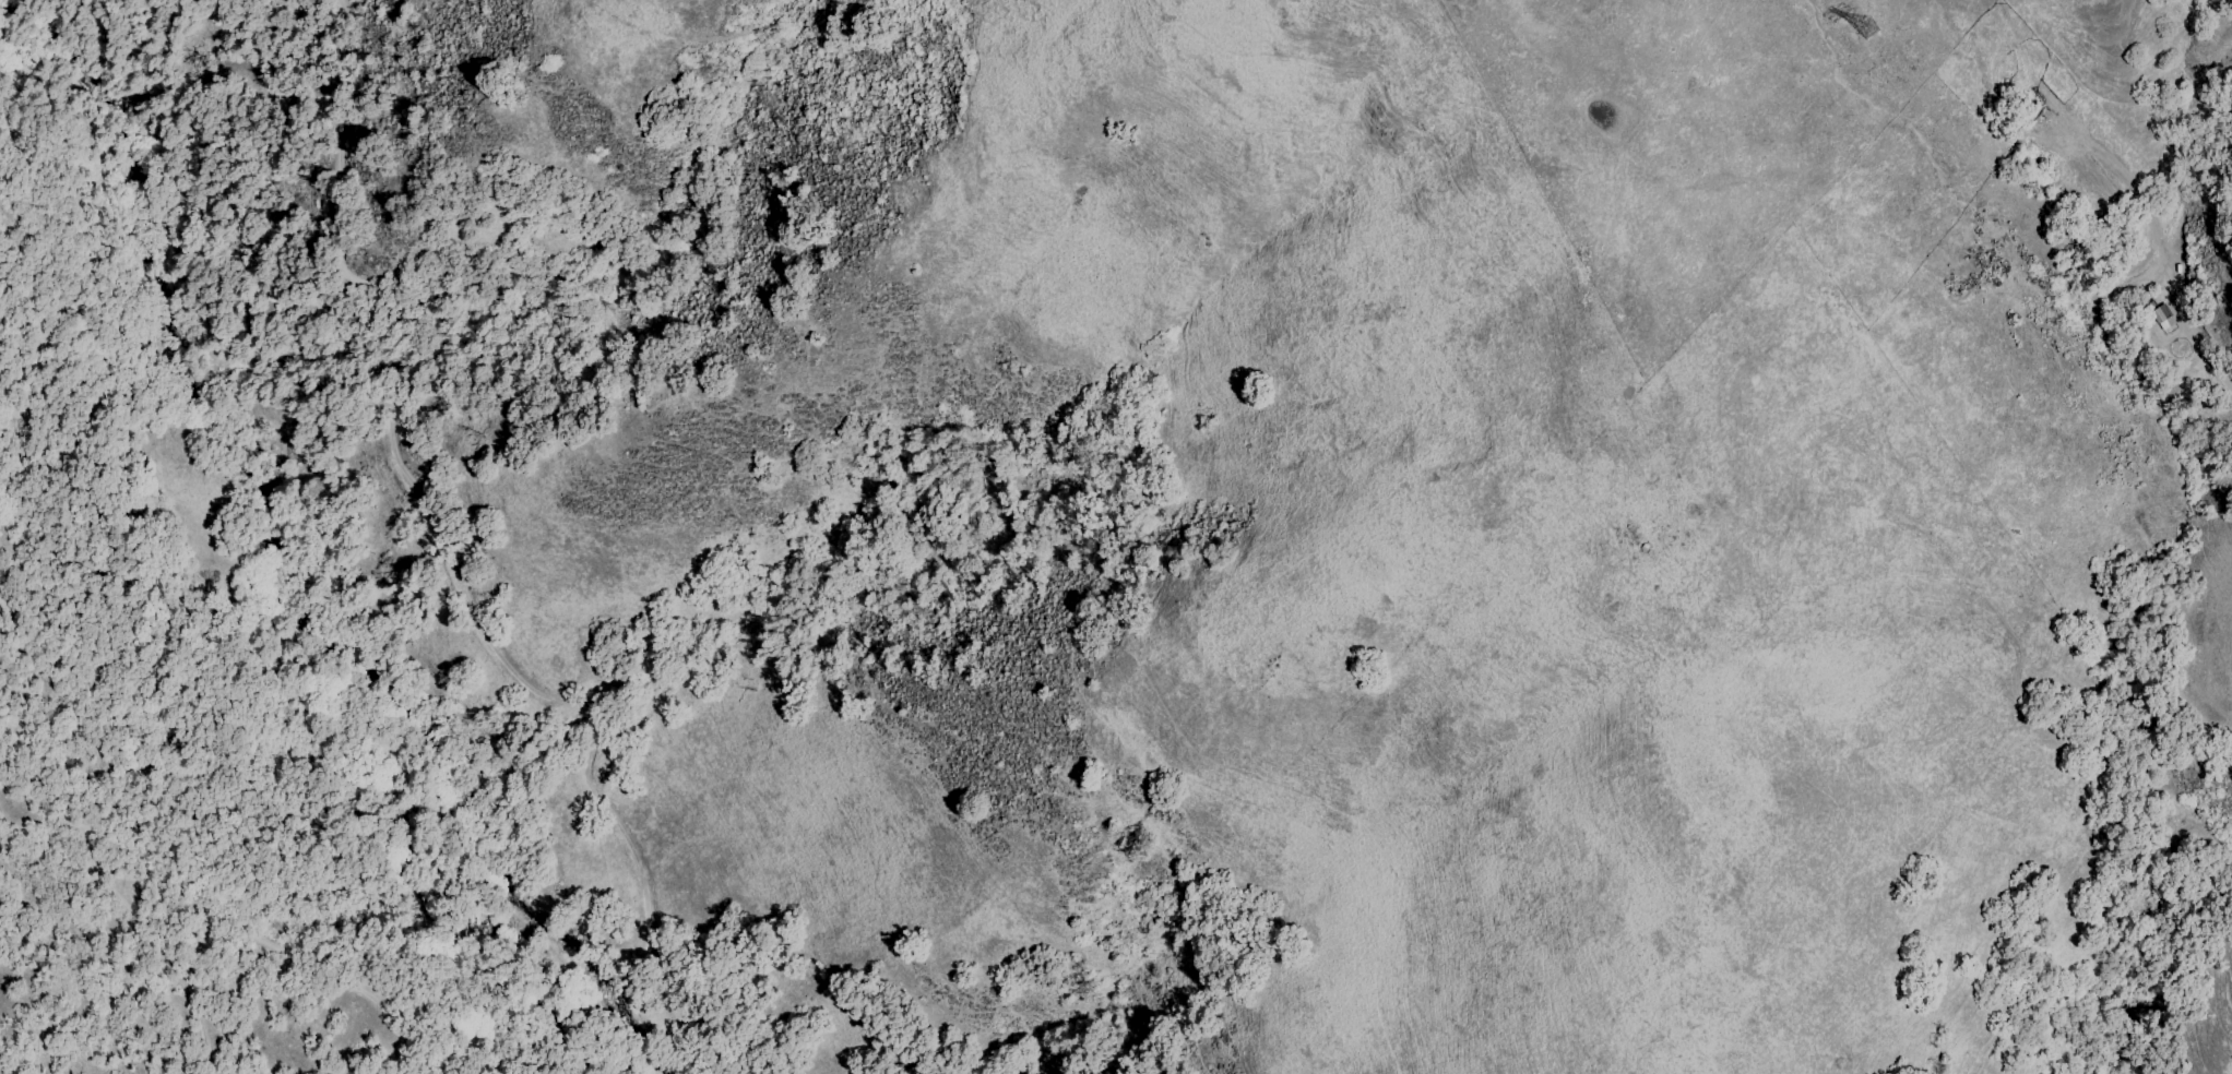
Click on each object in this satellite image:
power tower: (1880, 24)

